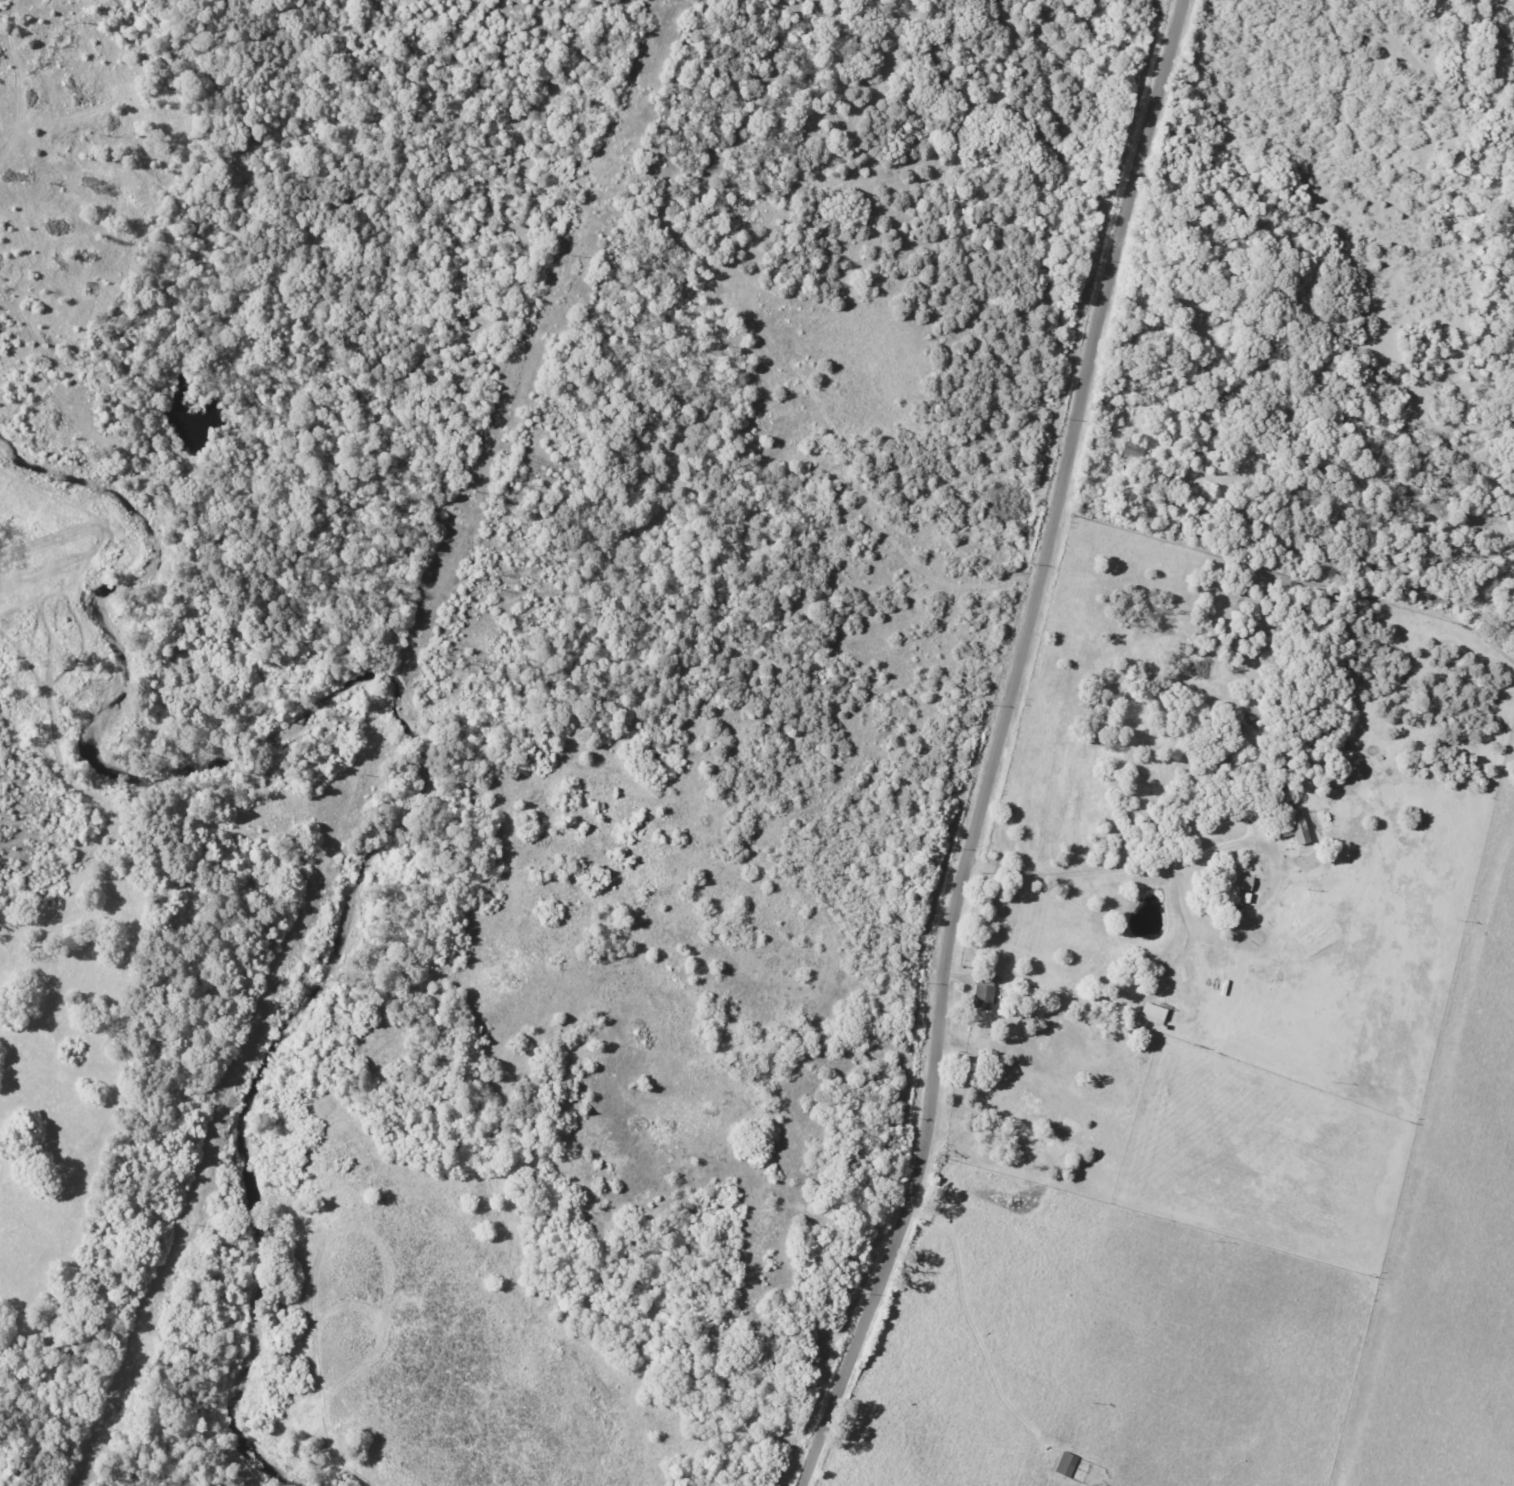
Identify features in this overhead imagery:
road: (997, 746)
building: (1296, 826)
road: (1212, 855)
building: (984, 996)
building: (1154, 1013)
building: (1067, 1463)

